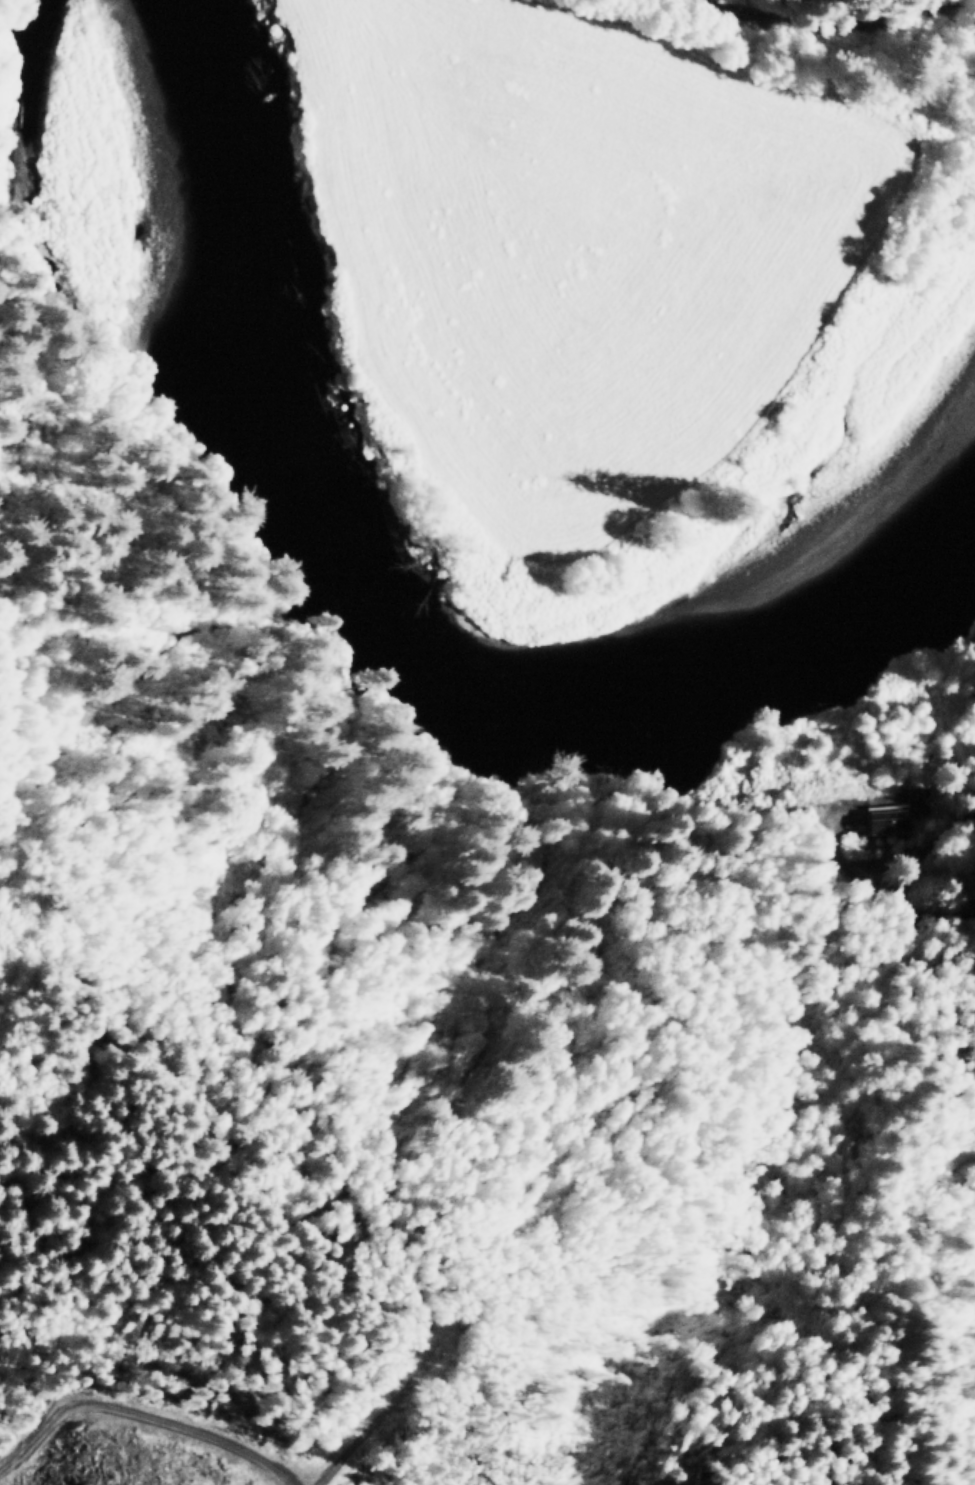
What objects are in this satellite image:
railway: (834, 23)
crop: (576, 248)
river: (385, 620)
road: (832, 841)

